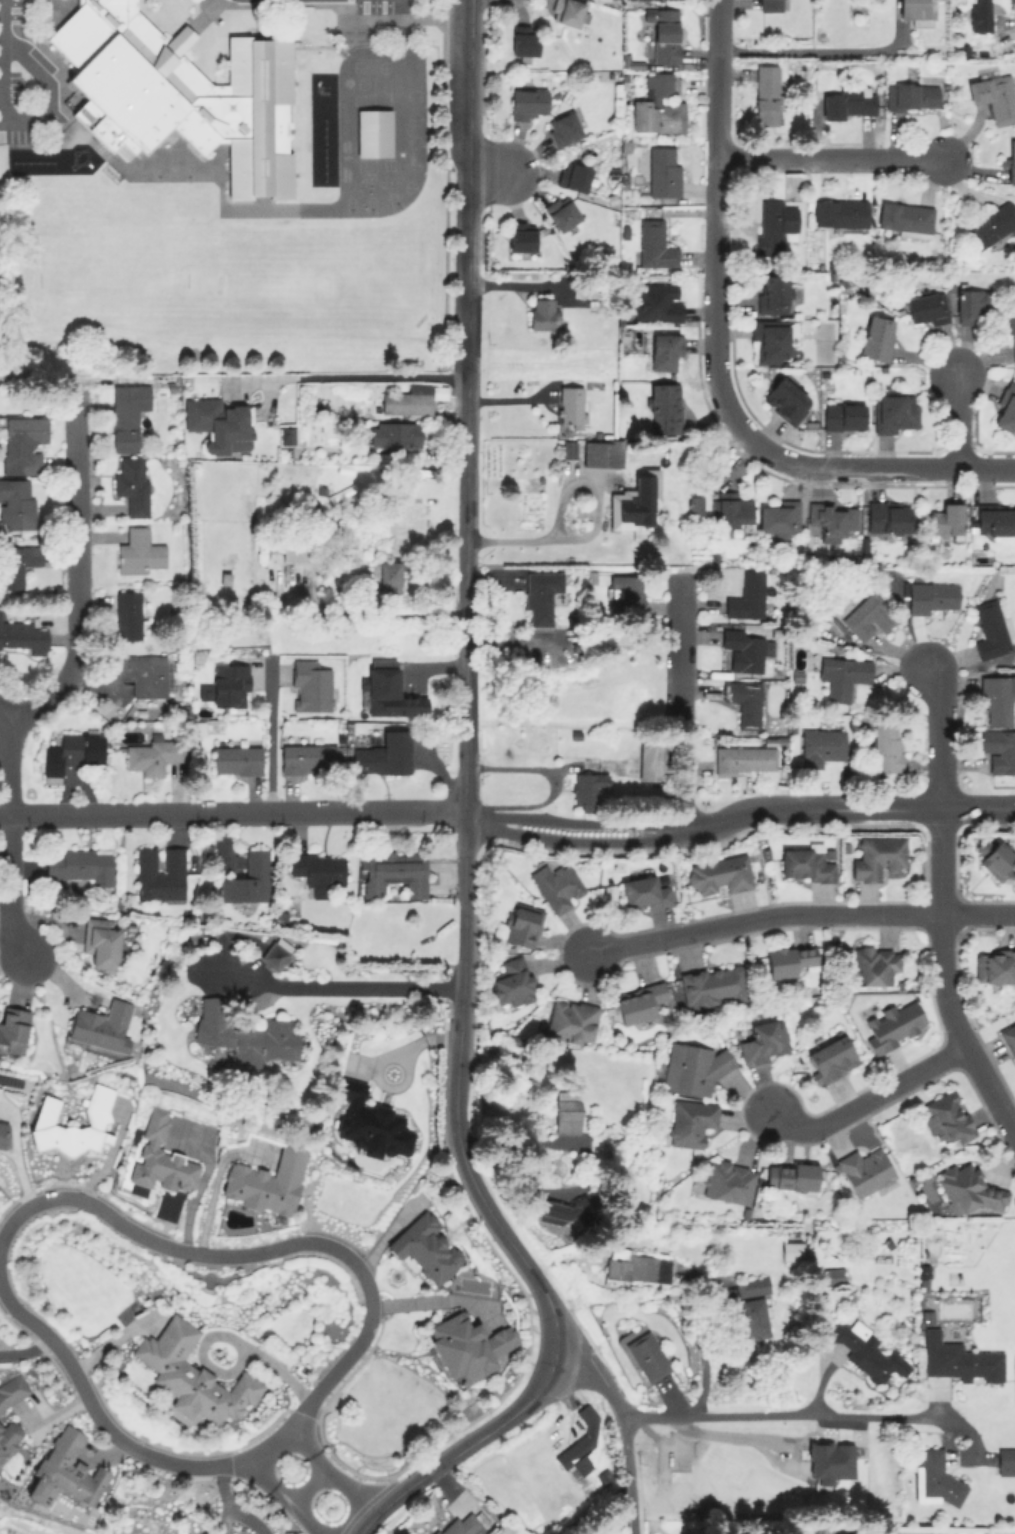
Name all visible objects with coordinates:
building: (768, 5)
building: (567, 11)
building: (916, 11)
road: (1, 15)
building: (979, 15)
building: (663, 33)
building: (523, 41)
road: (815, 50)
building: (179, 92)
building: (765, 94)
building: (911, 96)
building: (993, 97)
building: (848, 101)
building: (527, 103)
building: (656, 106)
road: (34, 118)
building: (562, 128)
building: (372, 132)
road: (470, 136)
road: (830, 160)
building: (1011, 161)
building: (663, 170)
road: (488, 174)
building: (572, 175)
road: (716, 186)
building: (559, 212)
building: (839, 212)
building: (904, 217)
building: (775, 224)
building: (990, 224)
building: (520, 236)
building: (653, 244)
building: (772, 293)
building: (656, 302)
building: (971, 304)
building: (926, 308)
building: (541, 313)
road: (467, 324)
building: (876, 337)
building: (1011, 338)
building: (768, 340)
building: (664, 351)
road: (366, 375)
building: (440, 392)
building: (785, 399)
building: (405, 402)
building: (569, 405)
building: (663, 407)
building: (1005, 408)
building: (894, 411)
building: (127, 415)
building: (842, 416)
road: (960, 419)
building: (218, 424)
building: (392, 433)
building: (286, 436)
building: (22, 443)
building: (568, 448)
building: (600, 453)
road: (842, 468)
building: (131, 483)
building: (632, 501)
building: (15, 503)
building: (695, 504)
building: (732, 508)
building: (886, 516)
building: (777, 517)
building: (831, 517)
building: (944, 520)
building: (995, 520)
road: (592, 527)
building: (293, 550)
building: (139, 551)
building: (17, 564)
road: (77, 571)
building: (387, 576)
building: (626, 589)
road: (465, 591)
building: (539, 595)
building: (746, 596)
building: (929, 597)
building: (0, 609)
building: (127, 614)
road: (373, 615)
building: (867, 615)
building: (990, 629)
building: (23, 636)
building: (744, 649)
building: (144, 674)
building: (842, 676)
building: (226, 685)
building: (309, 686)
building: (386, 691)
building: (996, 698)
building: (743, 702)
road: (682, 703)
road: (2, 717)
road: (940, 734)
road: (269, 737)
building: (822, 747)
building: (886, 748)
building: (999, 749)
building: (69, 753)
building: (383, 754)
building: (149, 755)
building: (307, 758)
building: (235, 759)
building: (744, 759)
building: (649, 760)
road: (7, 766)
building: (589, 791)
road: (232, 812)
road: (737, 814)
building: (876, 857)
building: (995, 861)
building: (807, 863)
building: (80, 864)
building: (318, 870)
building: (393, 871)
building: (159, 874)
building: (717, 874)
building: (246, 879)
building: (556, 885)
road: (11, 887)
building: (643, 892)
road: (803, 913)
road: (464, 918)
building: (522, 924)
building: (101, 942)
building: (274, 953)
building: (787, 959)
building: (873, 964)
building: (994, 966)
road: (944, 978)
building: (511, 982)
building: (712, 985)
road: (352, 988)
building: (637, 1003)
building: (569, 1021)
building: (893, 1024)
building: (101, 1026)
building: (12, 1030)
building: (244, 1034)
building: (764, 1040)
building: (1008, 1040)
building: (831, 1057)
building: (691, 1068)
road: (867, 1099)
building: (567, 1112)
building: (96, 1115)
building: (945, 1117)
building: (369, 1122)
building: (689, 1122)
building: (2, 1134)
road: (520, 1143)
building: (160, 1157)
building: (864, 1170)
building: (790, 1175)
road: (216, 1178)
building: (266, 1181)
building: (727, 1181)
building: (967, 1188)
road: (481, 1197)
road: (77, 1199)
building: (564, 1212)
building: (424, 1247)
road: (337, 1250)
building: (791, 1250)
road: (212, 1253)
building: (634, 1265)
building: (830, 1275)
road: (437, 1300)
building: (751, 1306)
road: (40, 1328)
building: (467, 1346)
road: (27, 1351)
building: (866, 1351)
building: (646, 1355)
building: (958, 1359)
road: (597, 1373)
building: (190, 1375)
road: (327, 1380)
building: (12, 1389)
road: (783, 1415)
building: (8, 1436)
building: (578, 1446)
road: (463, 1447)
road: (304, 1449)
road: (165, 1458)
building: (1005, 1460)
building: (828, 1461)
building: (65, 1470)
road: (628, 1474)
building: (932, 1478)
road: (273, 1480)
road: (309, 1485)
road: (348, 1490)
road: (597, 1509)
road: (310, 1517)
building: (463, 1524)

